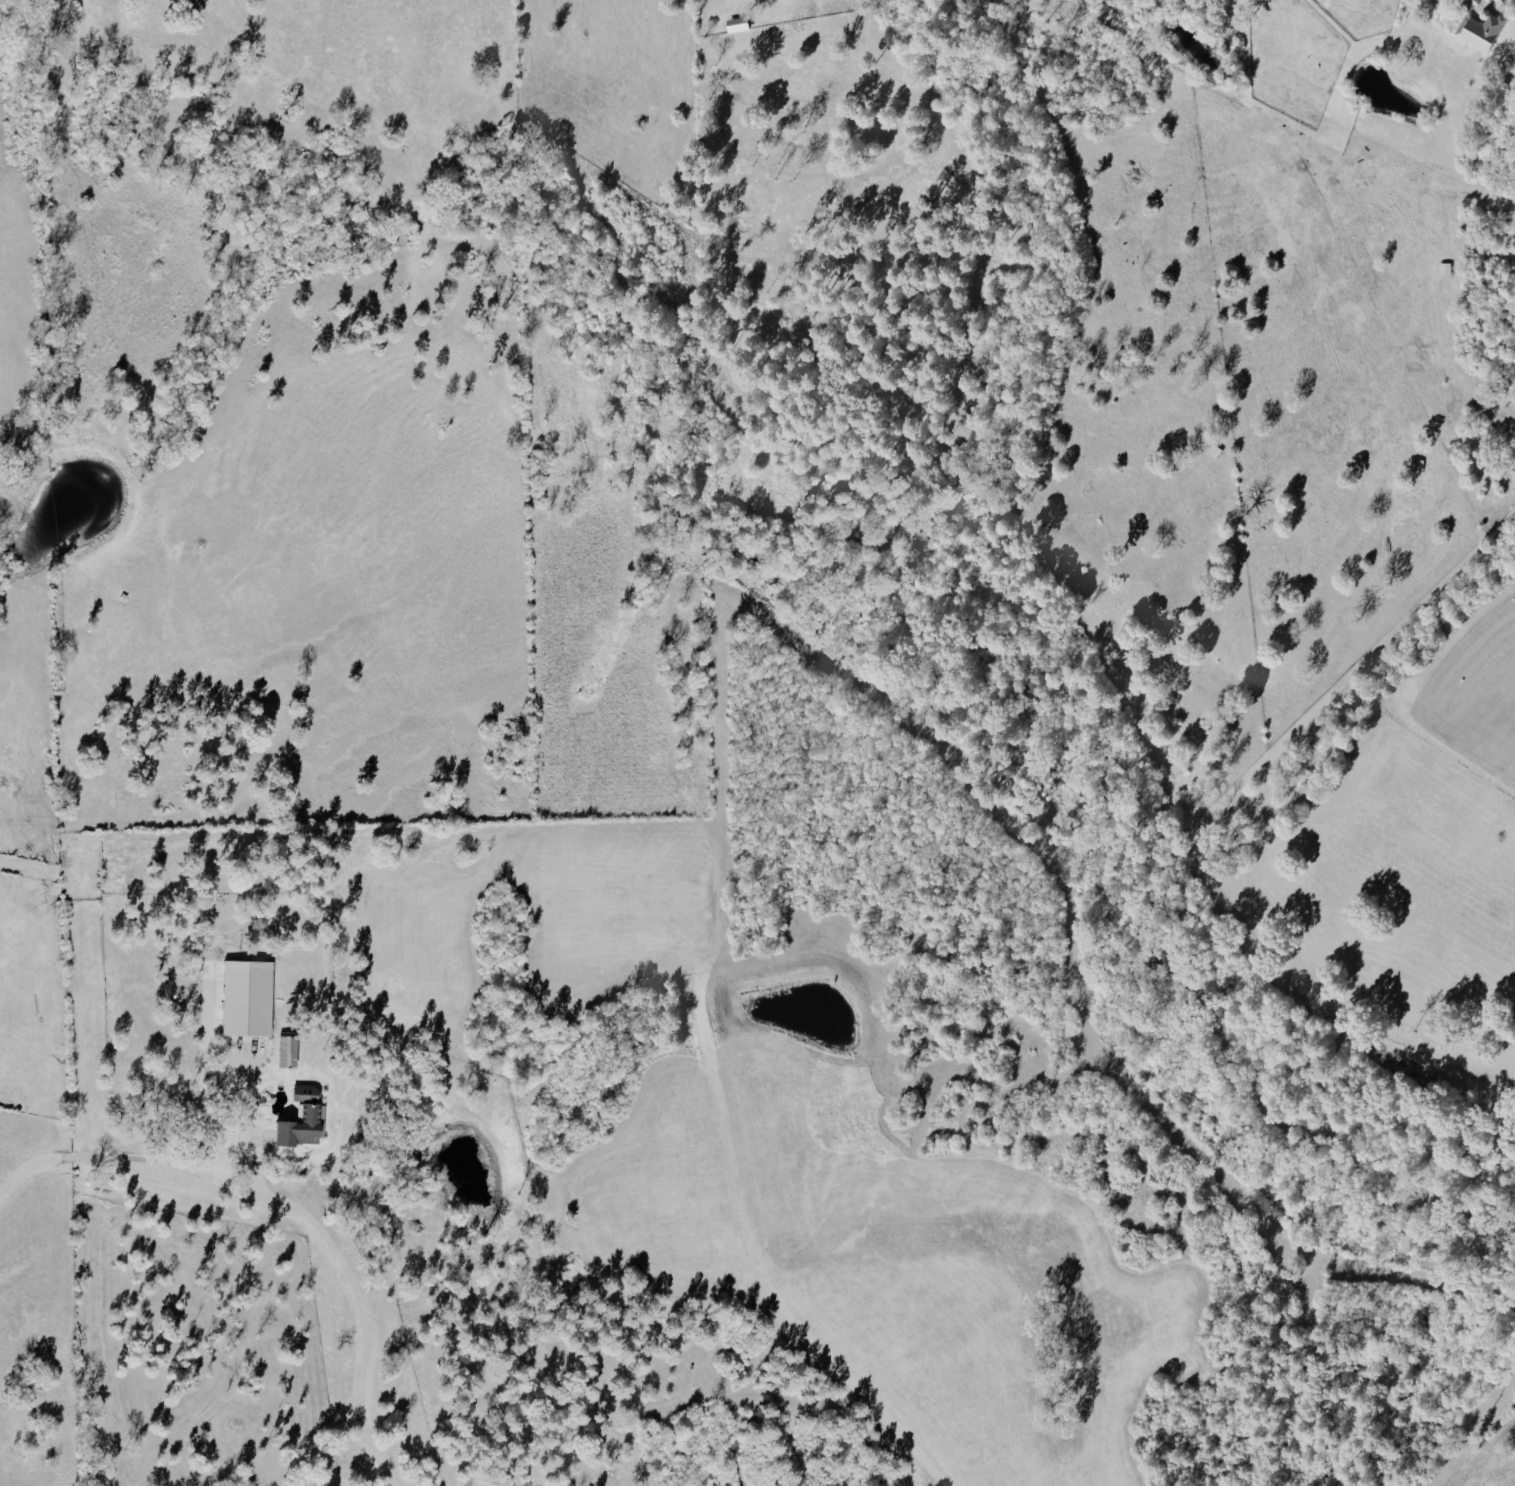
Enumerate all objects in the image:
building: (1476, 27)
building: (1415, 465)
building: (252, 998)
road: (206, 1114)
building: (306, 1119)
road: (293, 1206)

